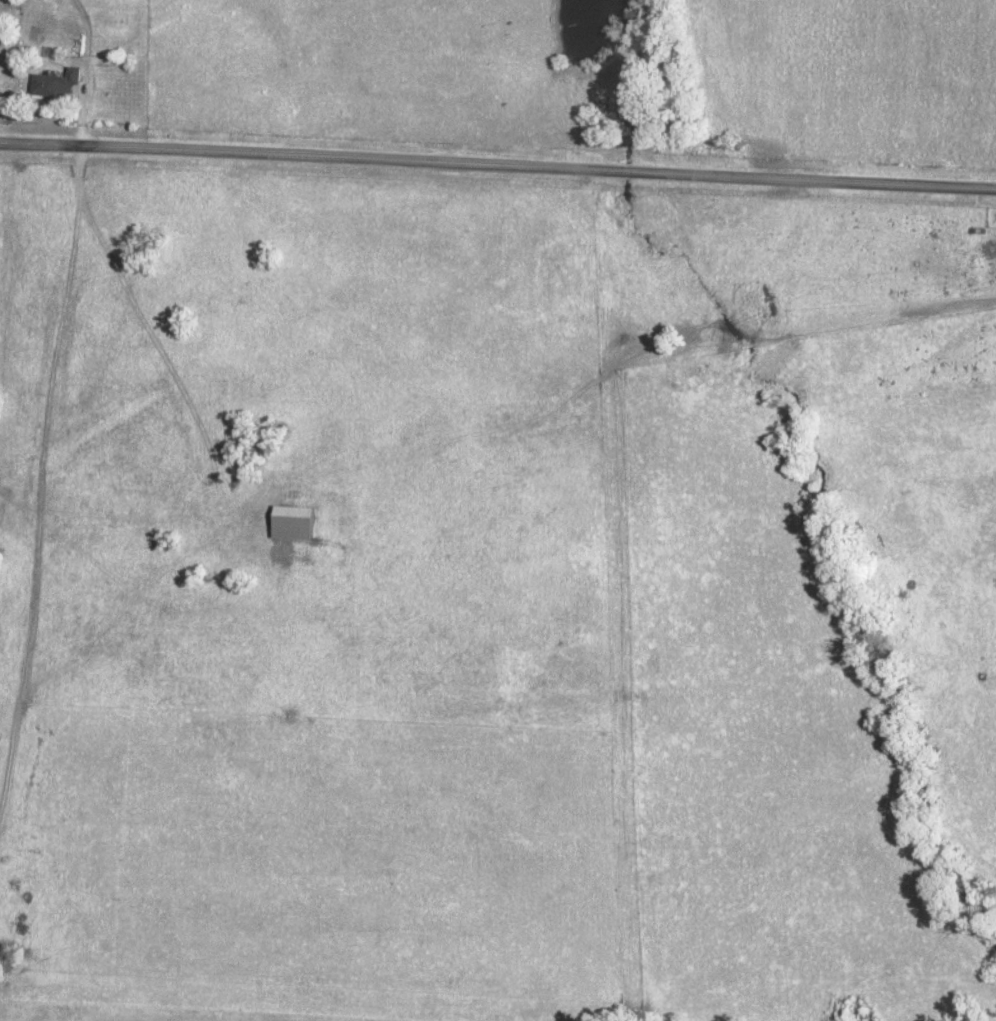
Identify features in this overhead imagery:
building: (58, 83)
road: (498, 163)
building: (298, 522)

